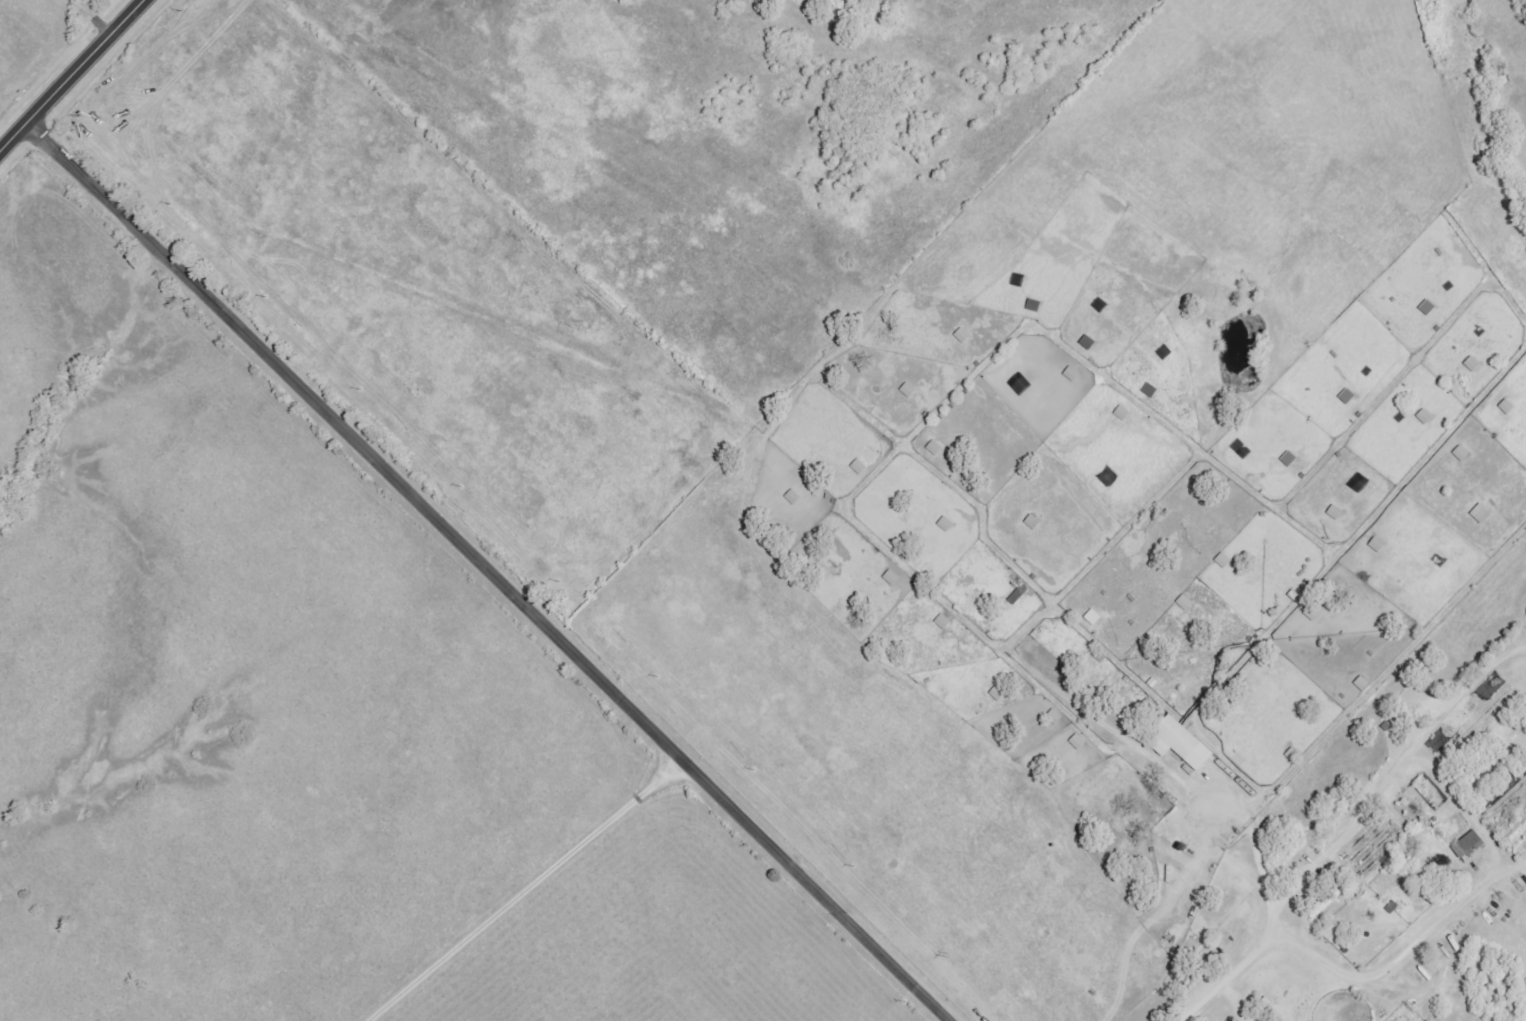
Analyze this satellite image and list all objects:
road: (69, 74)
building: (1505, 407)
building: (1422, 417)
road: (486, 571)
building: (1015, 596)
building: (1091, 618)
building: (1360, 684)
building: (1178, 744)
building: (1467, 846)
building: (1326, 901)
building: (1273, 1018)

